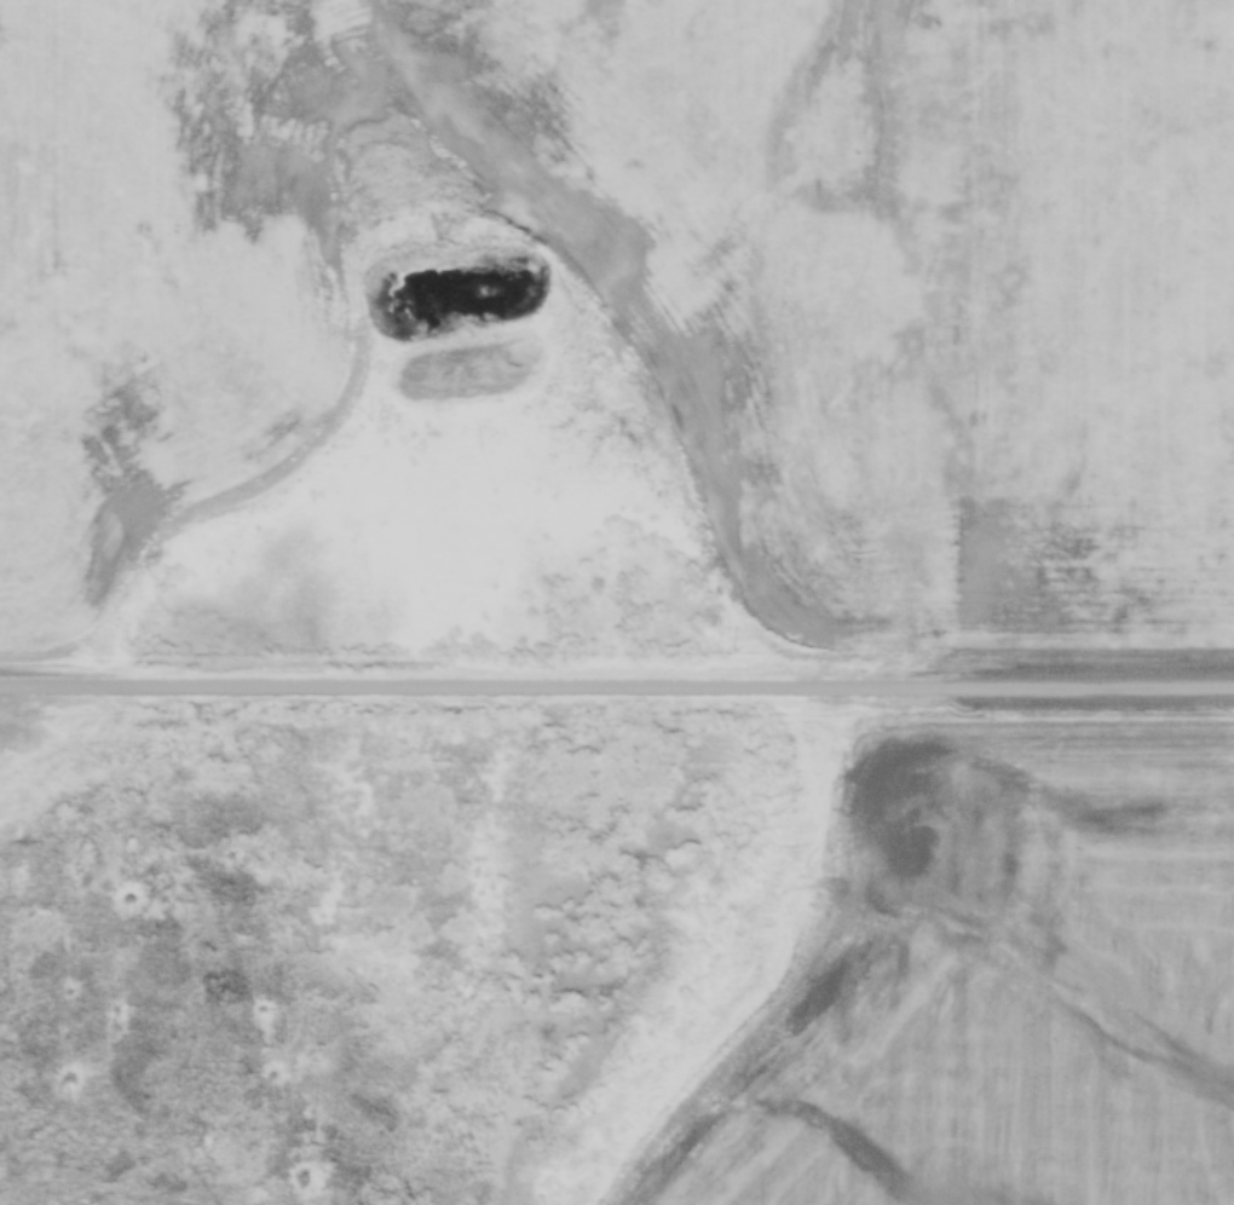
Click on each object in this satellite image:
road: (617, 686)

